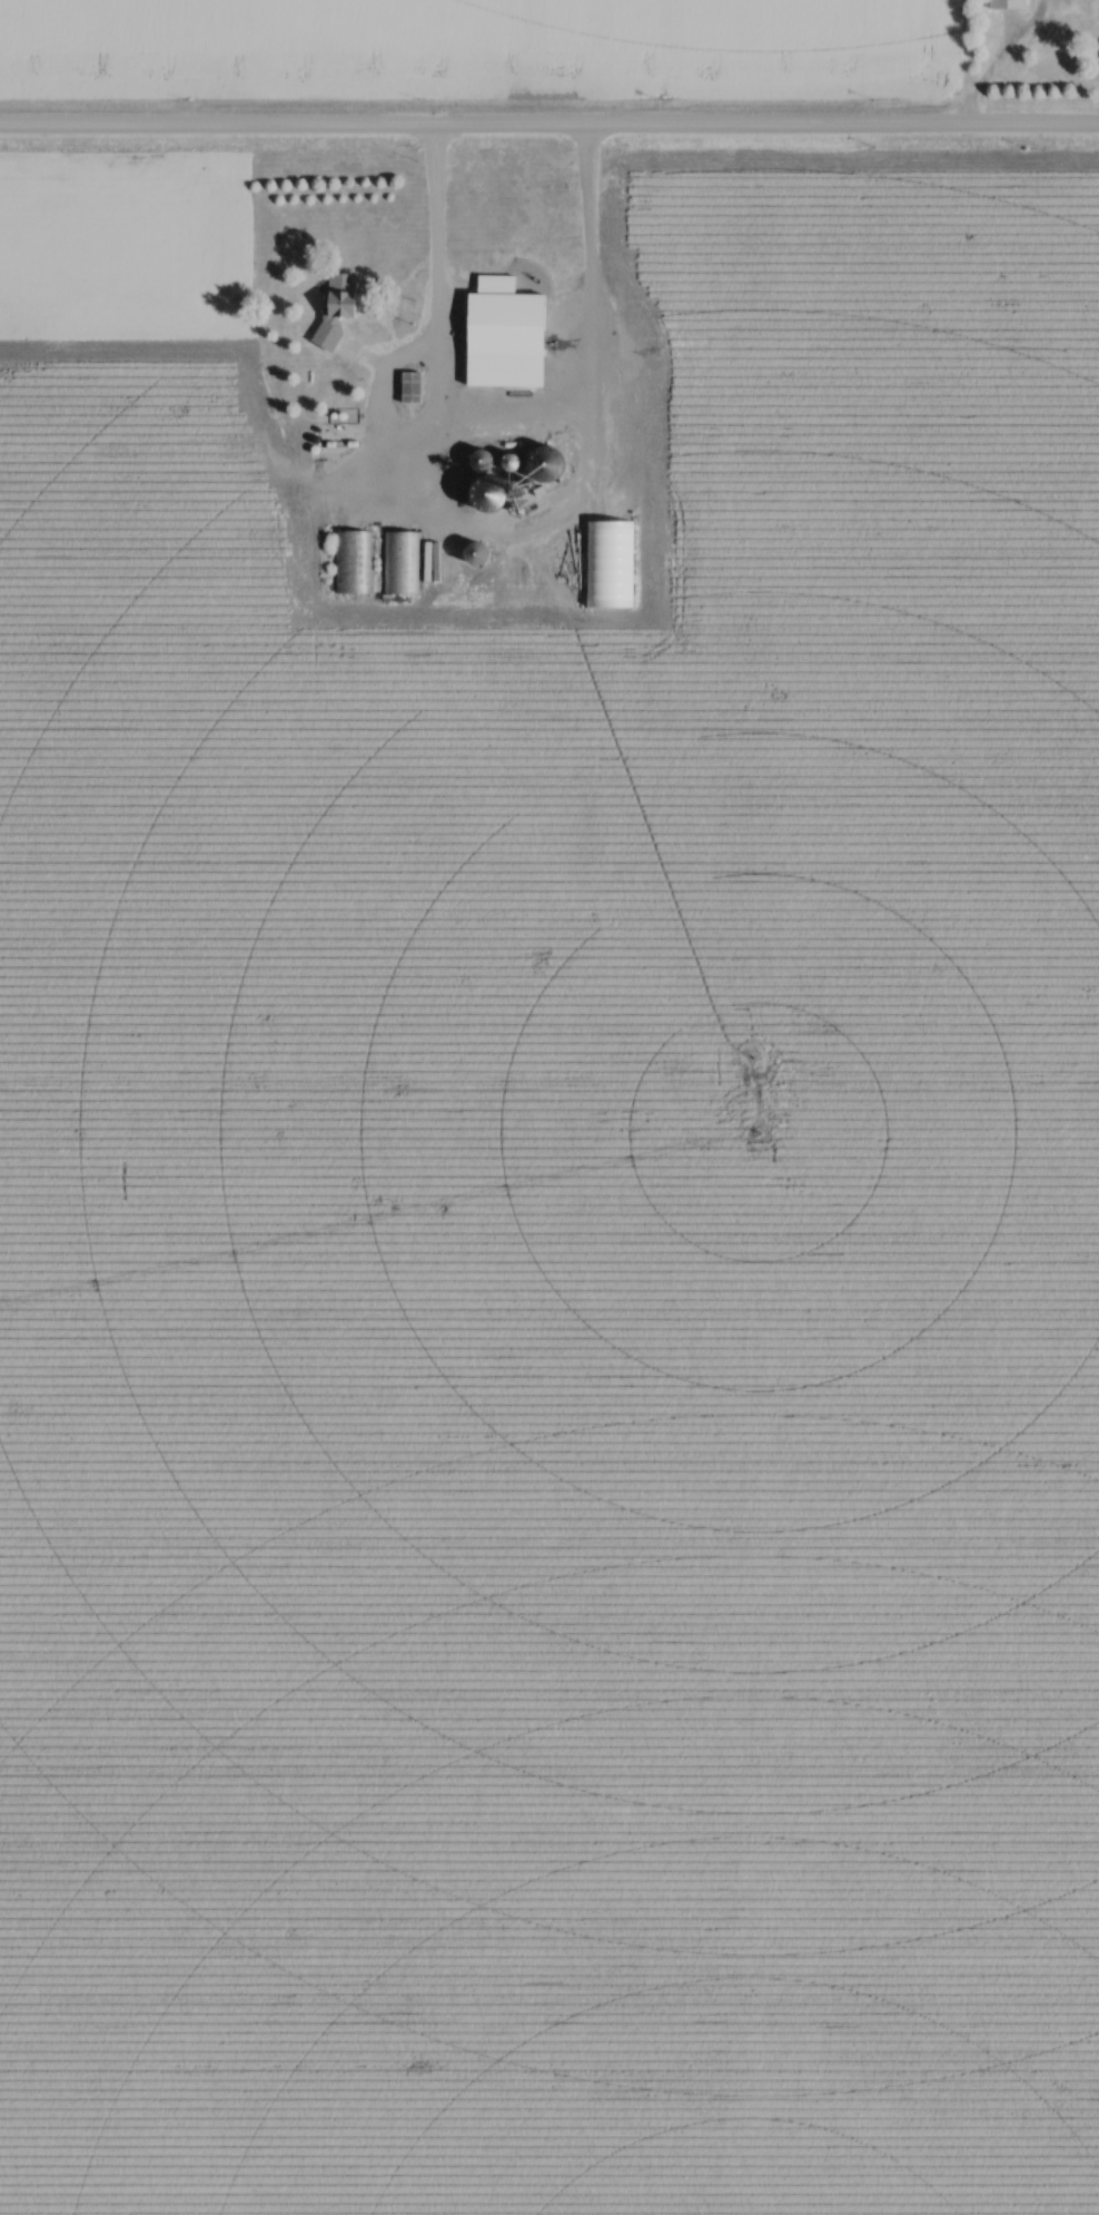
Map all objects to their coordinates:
road: (548, 128)
road: (430, 191)
road: (435, 291)
building: (343, 304)
building: (511, 336)
road: (583, 375)
building: (415, 388)
building: (354, 563)
building: (403, 563)

